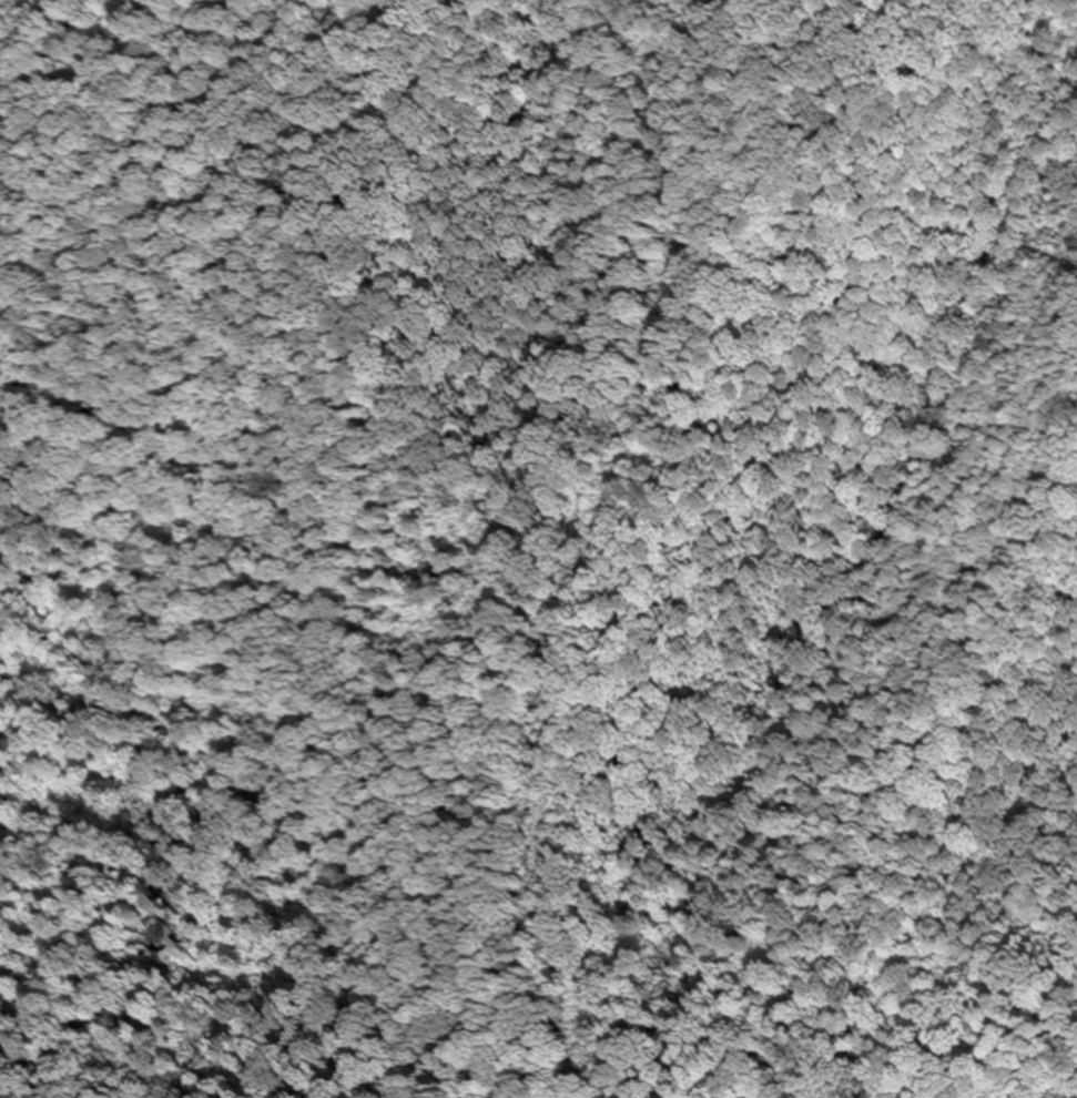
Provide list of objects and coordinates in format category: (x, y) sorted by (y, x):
road: (42, 30)

